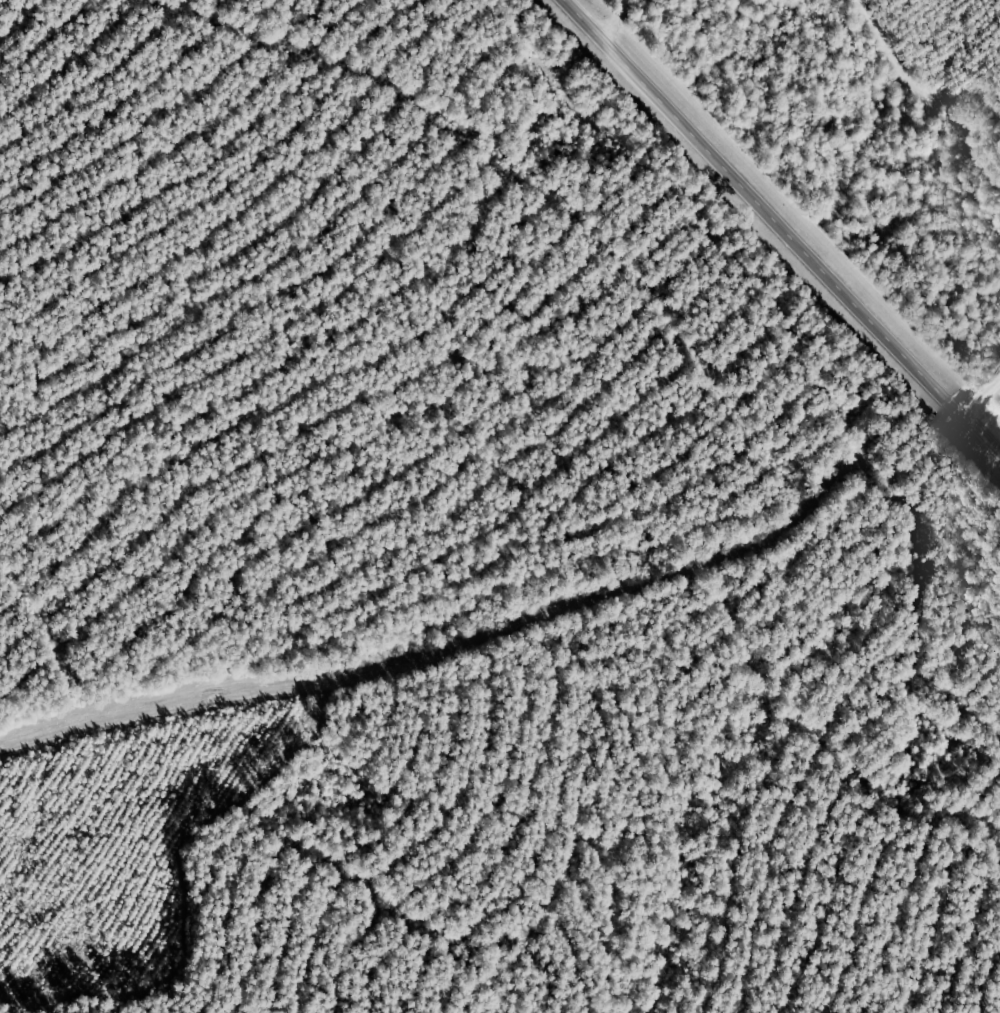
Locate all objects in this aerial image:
road: (781, 229)

